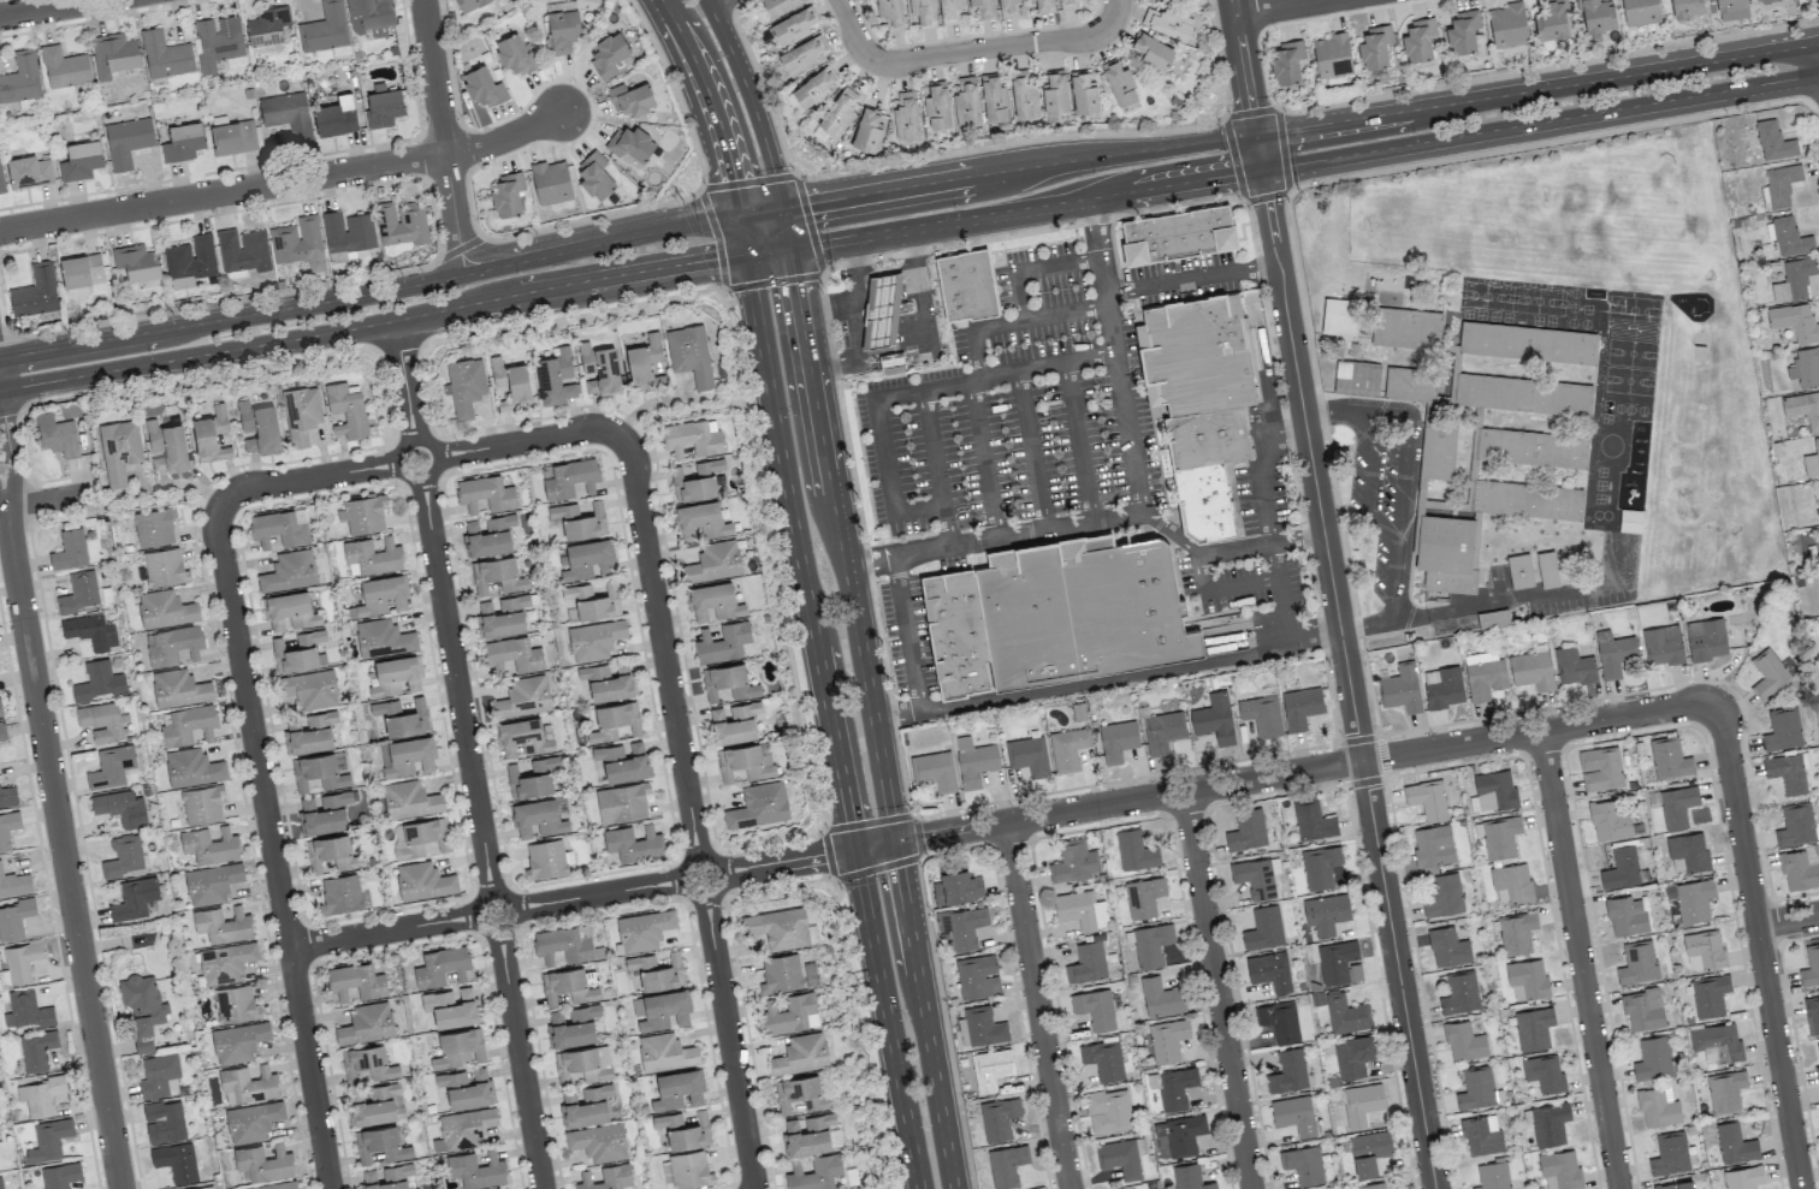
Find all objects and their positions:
road: (705, 0)
road: (707, 0)
building: (1762, 0)
road: (58, 2)
building: (468, 4)
building: (1731, 4)
building: (780, 5)
building: (1039, 5)
building: (1068, 5)
road: (42, 7)
road: (1278, 7)
building: (1687, 7)
building: (983, 8)
building: (1008, 8)
road: (1116, 10)
building: (949, 11)
building: (922, 12)
building: (1640, 12)
building: (889, 13)
building: (1596, 16)
building: (369, 17)
building: (1552, 20)
building: (1167, 22)
building: (793, 25)
building: (1507, 25)
building: (325, 28)
building: (267, 30)
building: (561, 30)
building: (1462, 31)
road: (853, 34)
building: (1418, 38)
building: (218, 42)
road: (1000, 47)
building: (1374, 47)
building: (1151, 49)
building: (113, 54)
building: (515, 54)
building: (608, 54)
building: (801, 54)
building: (165, 55)
building: (1332, 55)
building: (1287, 61)
building: (64, 67)
road: (1245, 69)
building: (20, 78)
building: (1119, 82)
building: (484, 87)
building: (813, 88)
road: (1537, 90)
building: (1084, 91)
building: (1054, 93)
building: (1024, 94)
building: (630, 97)
building: (994, 97)
road: (749, 100)
road: (709, 101)
building: (966, 101)
building: (383, 106)
building: (937, 107)
traffic signals: (1252, 108)
building: (840, 111)
building: (288, 114)
building: (336, 117)
building: (906, 117)
road: (1540, 121)
building: (866, 130)
traffic signals: (1285, 132)
road: (444, 136)
building: (233, 137)
building: (126, 141)
building: (1773, 141)
building: (183, 142)
building: (629, 142)
road: (1260, 153)
building: (79, 160)
road: (1018, 171)
building: (28, 172)
traffic signals: (1233, 174)
building: (594, 176)
traffic signals: (735, 180)
building: (551, 182)
building: (0, 183)
road: (285, 183)
building: (1781, 184)
building: (506, 194)
traffic signals: (1268, 201)
traffic signals: (808, 202)
road: (759, 208)
road: (1025, 209)
building: (401, 225)
road: (783, 226)
road: (743, 232)
building: (346, 234)
building: (1179, 236)
building: (1790, 237)
road: (600, 242)
building: (298, 243)
building: (243, 249)
road: (768, 250)
traffic signals: (716, 258)
building: (190, 260)
building: (136, 262)
road: (887, 272)
building: (82, 275)
building: (1794, 279)
traffic signals: (794, 284)
building: (967, 286)
road: (387, 289)
building: (35, 291)
road: (839, 304)
gas station: (871, 307)
building: (882, 310)
building: (1340, 316)
building: (1795, 321)
road: (373, 322)
building: (1406, 328)
road: (154, 329)
road: (919, 333)
building: (1528, 343)
road: (974, 351)
building: (689, 353)
road: (857, 353)
road: (1115, 353)
road: (1047, 361)
building: (644, 363)
building: (1805, 367)
building: (598, 369)
building: (555, 376)
building: (1357, 377)
building: (510, 384)
building: (466, 386)
building: (1522, 394)
building: (1201, 399)
building: (1802, 408)
building: (345, 410)
road: (697, 412)
building: (301, 414)
building: (1424, 420)
building: (257, 427)
road: (1291, 433)
building: (55, 434)
building: (211, 435)
road: (1078, 438)
building: (691, 439)
road: (930, 445)
building: (166, 446)
road: (1032, 447)
building: (1531, 447)
building: (119, 450)
road: (983, 456)
road: (10, 458)
road: (421, 459)
building: (1812, 460)
building: (570, 480)
building: (697, 480)
road: (1400, 491)
building: (485, 493)
building: (1527, 499)
road: (47, 500)
road: (152, 504)
road: (2, 505)
road: (2, 509)
building: (365, 513)
road: (1266, 513)
road: (1090, 518)
building: (700, 521)
building: (153, 527)
building: (279, 527)
building: (487, 535)
road: (842, 545)
building: (69, 549)
road: (801, 551)
building: (1447, 552)
building: (372, 557)
building: (587, 559)
building: (715, 561)
building: (164, 566)
building: (1547, 567)
building: (289, 571)
building: (1519, 571)
building: (497, 575)
building: (79, 591)
building: (380, 595)
building: (713, 601)
road: (1509, 602)
building: (165, 608)
building: (1080, 608)
building: (289, 611)
building: (502, 616)
building: (90, 631)
building: (959, 634)
building: (310, 636)
building: (383, 638)
building: (1706, 638)
building: (594, 640)
building: (722, 642)
building: (1663, 644)
building: (173, 646)
building: (512, 654)
road: (911, 655)
building: (1614, 655)
building: (295, 656)
building: (1574, 666)
building: (1531, 670)
building: (1485, 674)
building: (1768, 674)
building: (396, 676)
road: (1350, 678)
road: (1106, 679)
building: (99, 680)
building: (608, 682)
building: (728, 682)
building: (178, 688)
building: (1400, 688)
building: (1445, 688)
building: (312, 689)
building: (523, 697)
building: (1300, 707)
building: (0, 709)
building: (1262, 715)
building: (401, 717)
building: (1214, 718)
building: (101, 720)
building: (616, 721)
building: (734, 723)
building: (186, 724)
building: (1783, 729)
building: (2, 731)
building: (1162, 731)
building: (309, 732)
building: (522, 736)
building: (1118, 739)
building: (1067, 748)
road: (468, 753)
building: (407, 756)
building: (1029, 756)
building: (1669, 757)
building: (622, 761)
building: (746, 761)
building: (974, 761)
building: (111, 766)
building: (191, 767)
building: (1600, 768)
building: (934, 769)
building: (1788, 771)
building: (318, 772)
building: (532, 778)
building: (1493, 791)
building: (7, 795)
building: (1427, 798)
building: (409, 799)
building: (622, 803)
building: (201, 804)
building: (758, 805)
building: (1677, 805)
building: (120, 808)
building: (324, 813)
road: (692, 815)
building: (537, 818)
building: (1313, 820)
traffic signals: (851, 821)
building: (1608, 821)
road: (1005, 824)
building: (1796, 825)
building: (7, 827)
building: (1246, 830)
building: (422, 837)
building: (1500, 837)
traffic signals: (923, 839)
building: (633, 844)
building: (209, 845)
building: (1433, 845)
road: (271, 848)
road: (63, 849)
building: (1134, 850)
building: (1689, 850)
building: (331, 852)
traffic signals: (824, 856)
building: (124, 857)
building: (545, 858)
building: (1073, 861)
building: (1320, 866)
traffic signals: (900, 868)
building: (1620, 868)
building: (1799, 870)
building: (1255, 878)
building: (423, 881)
building: (212, 882)
building: (1512, 882)
building: (14, 884)
building: (956, 884)
building: (340, 893)
building: (1442, 894)
building: (1143, 897)
building: (134, 898)
building: (1691, 899)
building: (1080, 909)
building: (1326, 912)
building: (1627, 915)
building: (14, 917)
road: (1789, 921)
building: (223, 925)
building: (961, 926)
building: (1263, 928)
building: (644, 929)
building: (1517, 933)
building: (140, 939)
building: (563, 944)
building: (1151, 944)
road: (1762, 945)
building: (1447, 947)
building: (1704, 951)
road: (1582, 961)
building: (225, 962)
building: (1086, 962)
building: (1339, 962)
building: (19, 963)
building: (1637, 963)
building: (1811, 965)
building: (440, 967)
building: (657, 970)
building: (1269, 970)
building: (781, 973)
building: (977, 976)
building: (1527, 979)
building: (356, 981)
building: (567, 986)
road: (1220, 991)
building: (1459, 993)
building: (1710, 995)
building: (1161, 998)
building: (236, 1004)
building: (451, 1006)
road: (1042, 1006)
building: (142, 1007)
building: (1095, 1007)
building: (1643, 1009)
building: (26, 1010)
building: (663, 1010)
building: (790, 1013)
building: (1346, 1013)
building: (1812, 1013)
road: (924, 1016)
road: (885, 1018)
building: (1279, 1021)
building: (367, 1023)
building: (573, 1025)
building: (983, 1025)
building: (1533, 1028)
building: (1167, 1040)
building: (238, 1041)
building: (1464, 1041)
building: (1717, 1042)
building: (457, 1047)
building: (1818, 1050)
building: (36, 1051)
building: (665, 1052)
building: (801, 1054)
building: (1352, 1057)
building: (1653, 1058)
building: (1103, 1059)
building: (368, 1063)
building: (582, 1064)
building: (991, 1069)
building: (1287, 1071)
building: (1817, 1071)
building: (1544, 1072)
building: (159, 1076)
building: (248, 1084)
building: (1173, 1087)
building: (466, 1088)
building: (1476, 1088)
building: (677, 1089)
building: (1725, 1090)
building: (800, 1094)
building: (40, 1095)
building: (1359, 1104)
building: (379, 1105)
building: (585, 1105)
building: (1658, 1106)
building: (1108, 1110)
building: (1294, 1114)
building: (999, 1118)
building: (164, 1120)
building: (251, 1120)
building: (1550, 1123)
building: (466, 1126)
building: (683, 1129)
building: (807, 1134)
building: (1180, 1134)
building: (1482, 1135)
building: (48, 1140)
building: (598, 1142)
building: (380, 1143)
building: (1735, 1143)
building: (1369, 1151)
building: (1670, 1153)
building: (1121, 1157)
building: (176, 1160)
building: (263, 1163)
building: (1303, 1164)
building: (1006, 1165)
building: (476, 1170)
building: (689, 1170)
building: (1560, 1170)
building: (814, 1172)
building: (60, 1175)
building: (1493, 1176)
building: (387, 1177)
building: (606, 1177)
building: (1190, 1177)
building: (1743, 1177)
building: (0, 1183)
building: (275, 1185)
building: (1373, 1185)
building: (1676, 1185)
building: (203, 1188)
building: (506, 1188)

